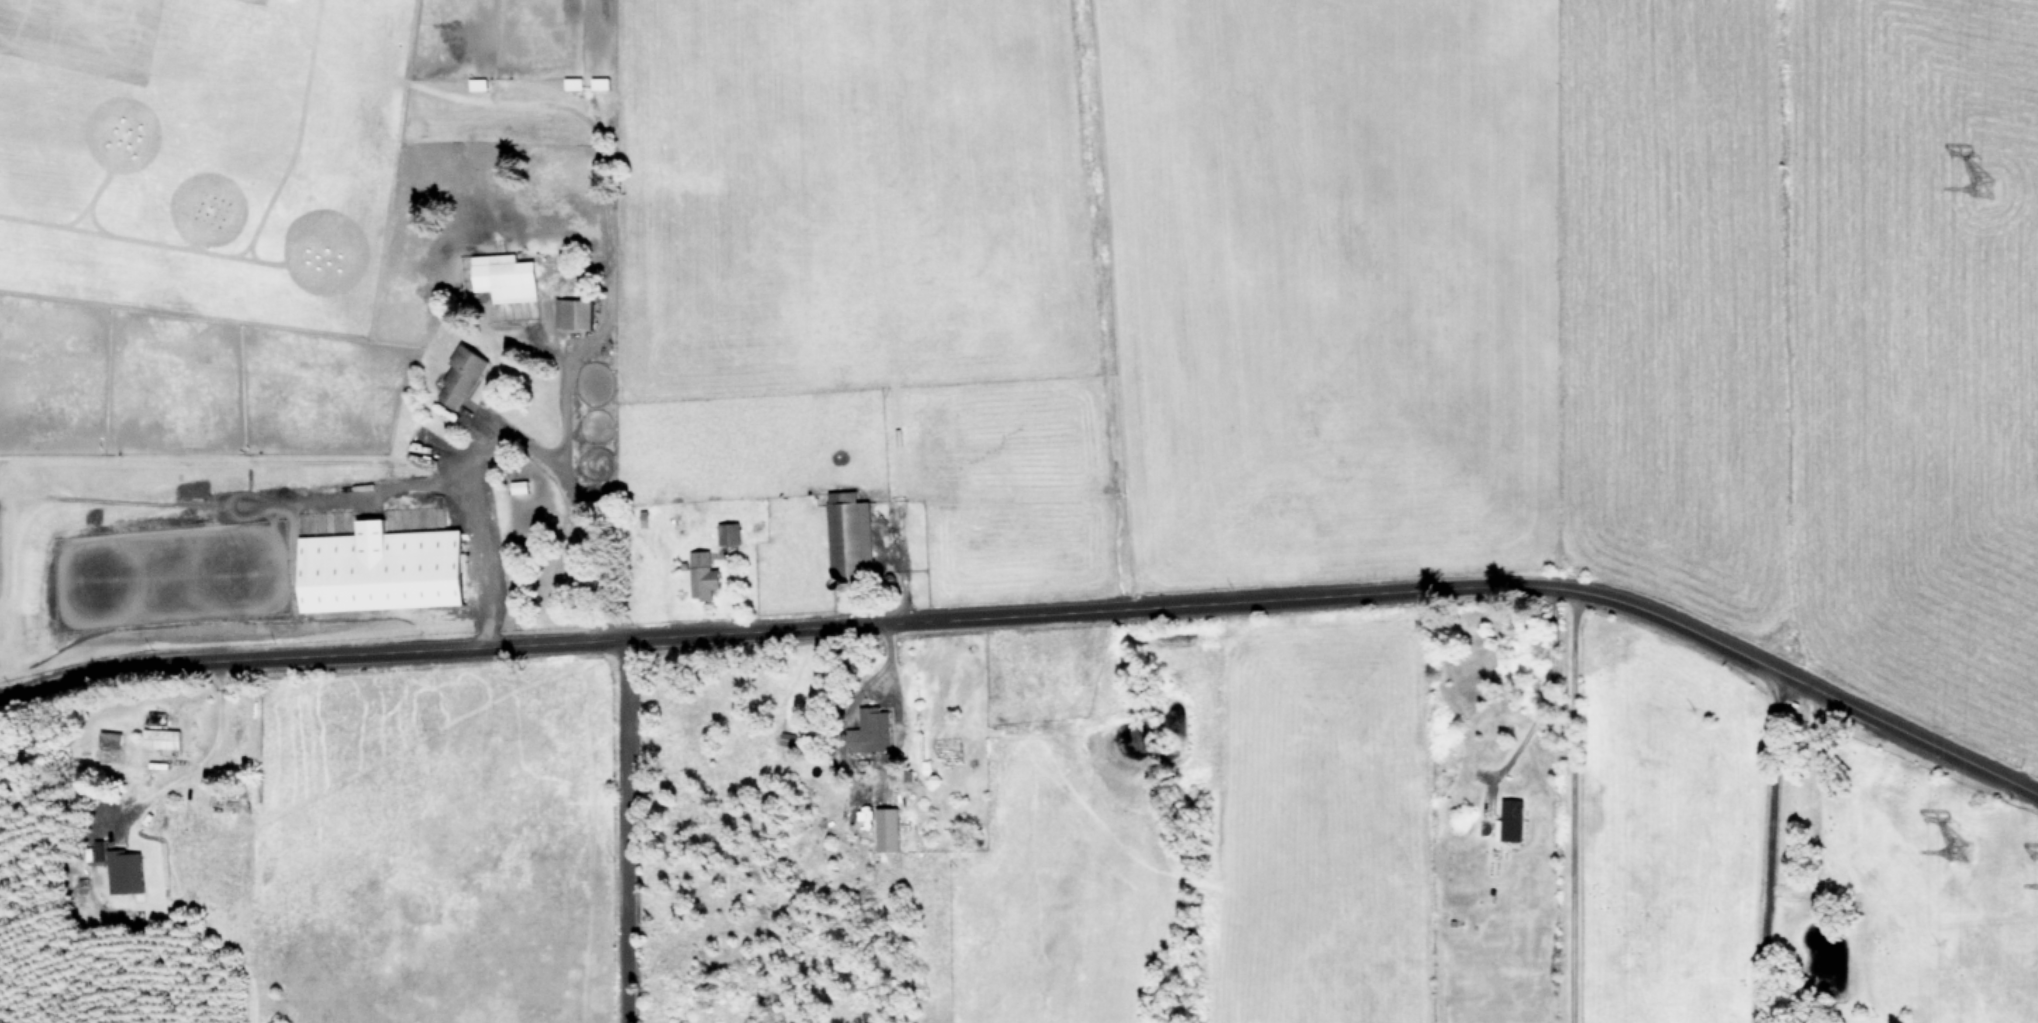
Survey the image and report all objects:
building: (572, 82)
building: (598, 82)
power tower: (1989, 202)
building: (504, 276)
building: (572, 311)
building: (459, 376)
crop: (1060, 484)
building: (518, 485)
road: (572, 493)
road: (312, 499)
building: (727, 532)
building: (847, 532)
building: (379, 567)
building: (701, 574)
road: (1041, 611)
road: (1546, 694)
building: (871, 734)
building: (160, 737)
road: (1572, 806)
building: (886, 828)
road: (614, 831)
road: (1765, 842)
power tower: (1965, 867)
building: (123, 870)

